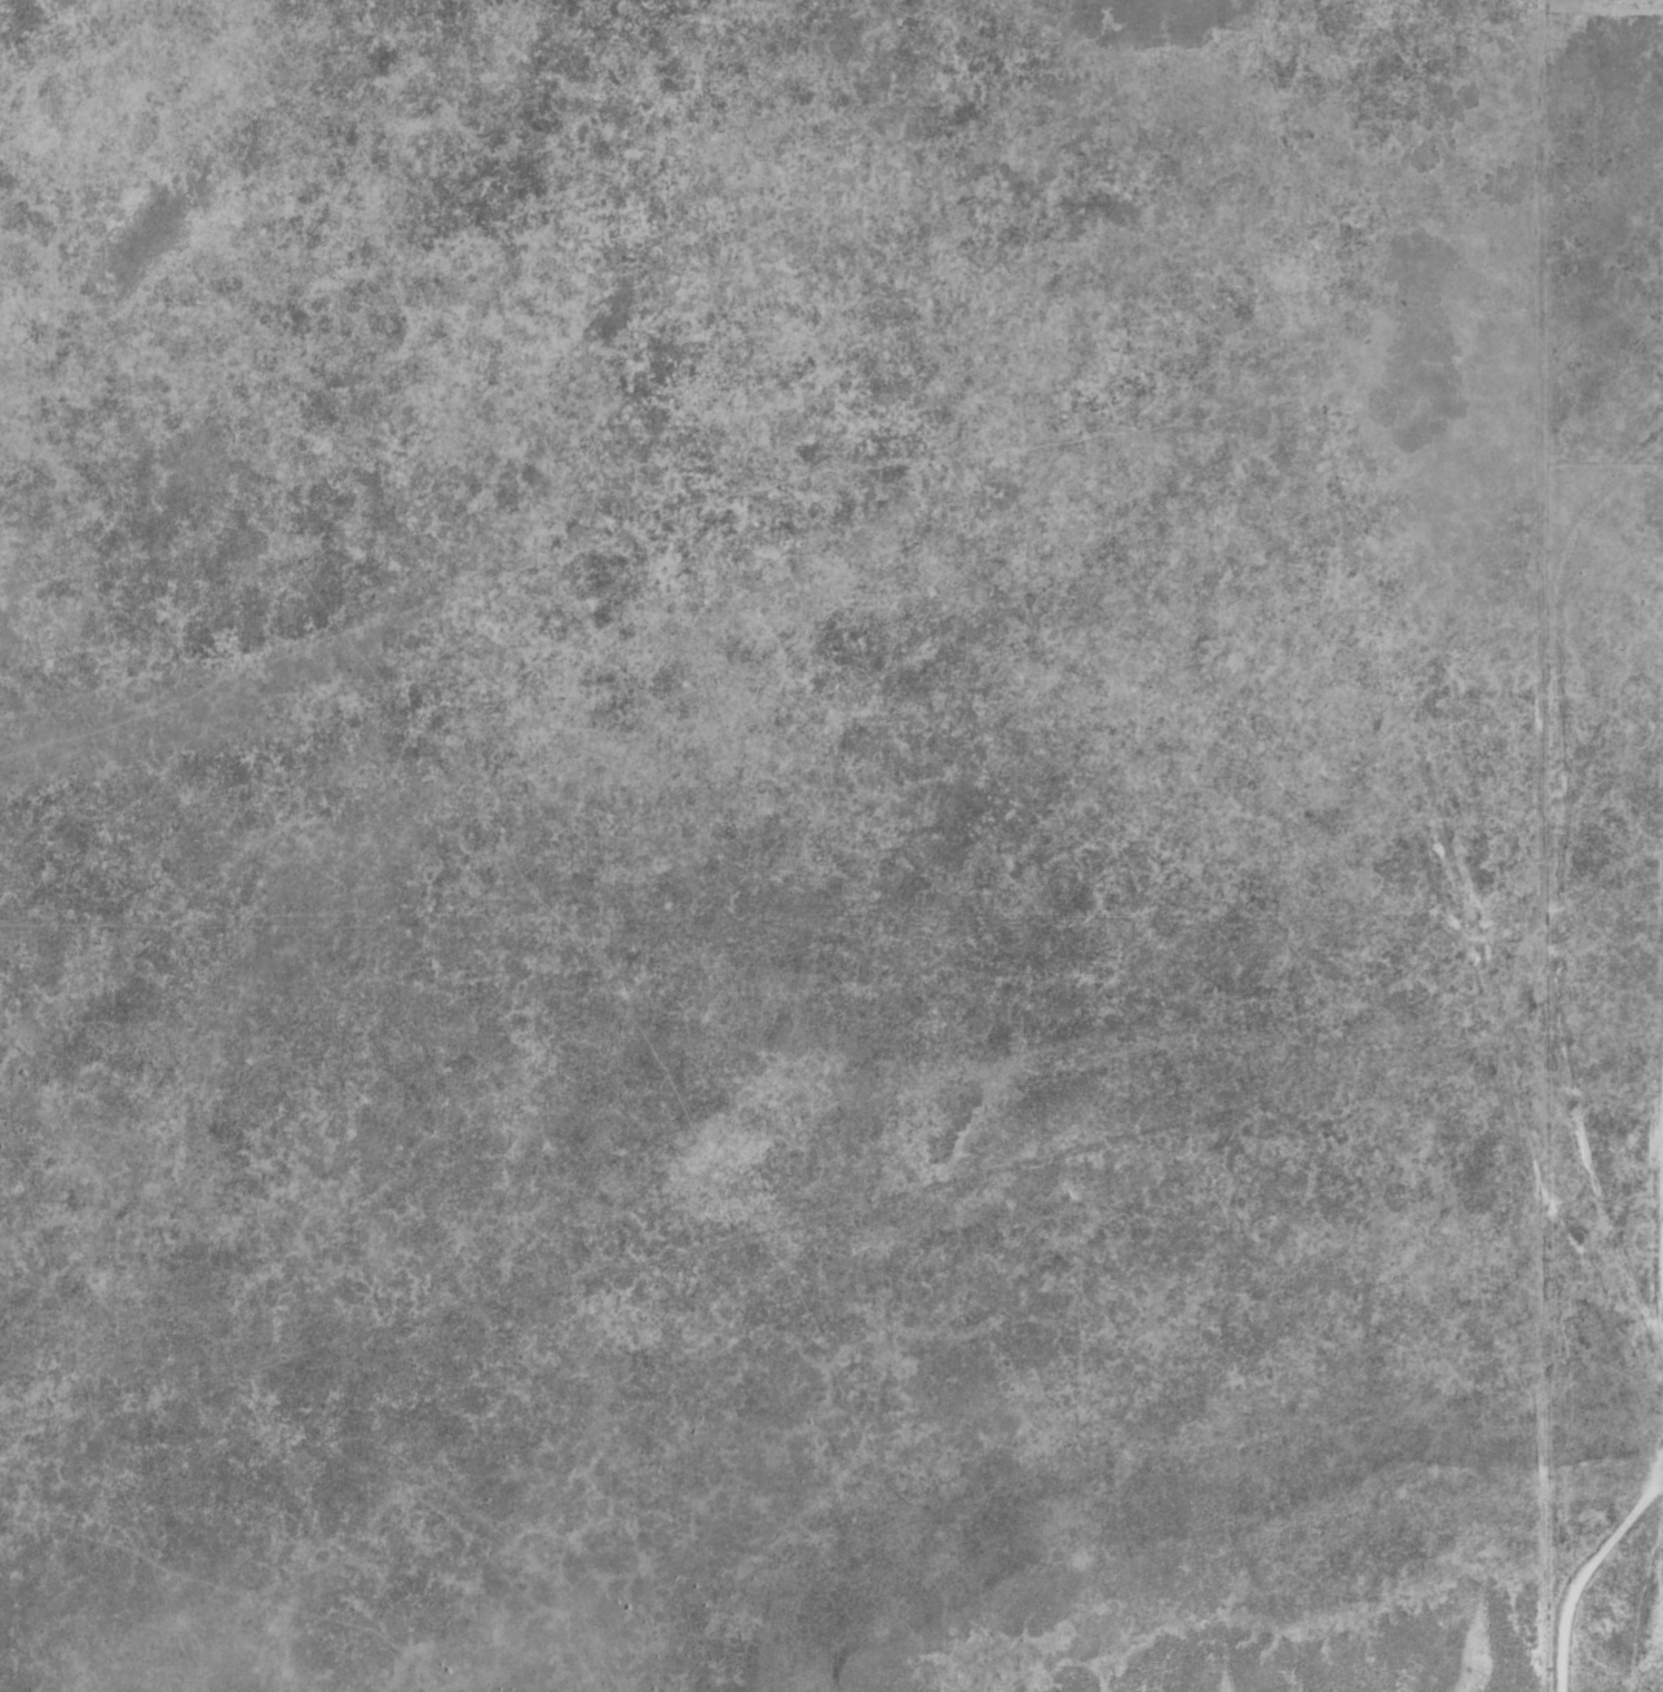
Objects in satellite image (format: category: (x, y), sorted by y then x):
road: (1611, 859)
road: (1600, 1556)

